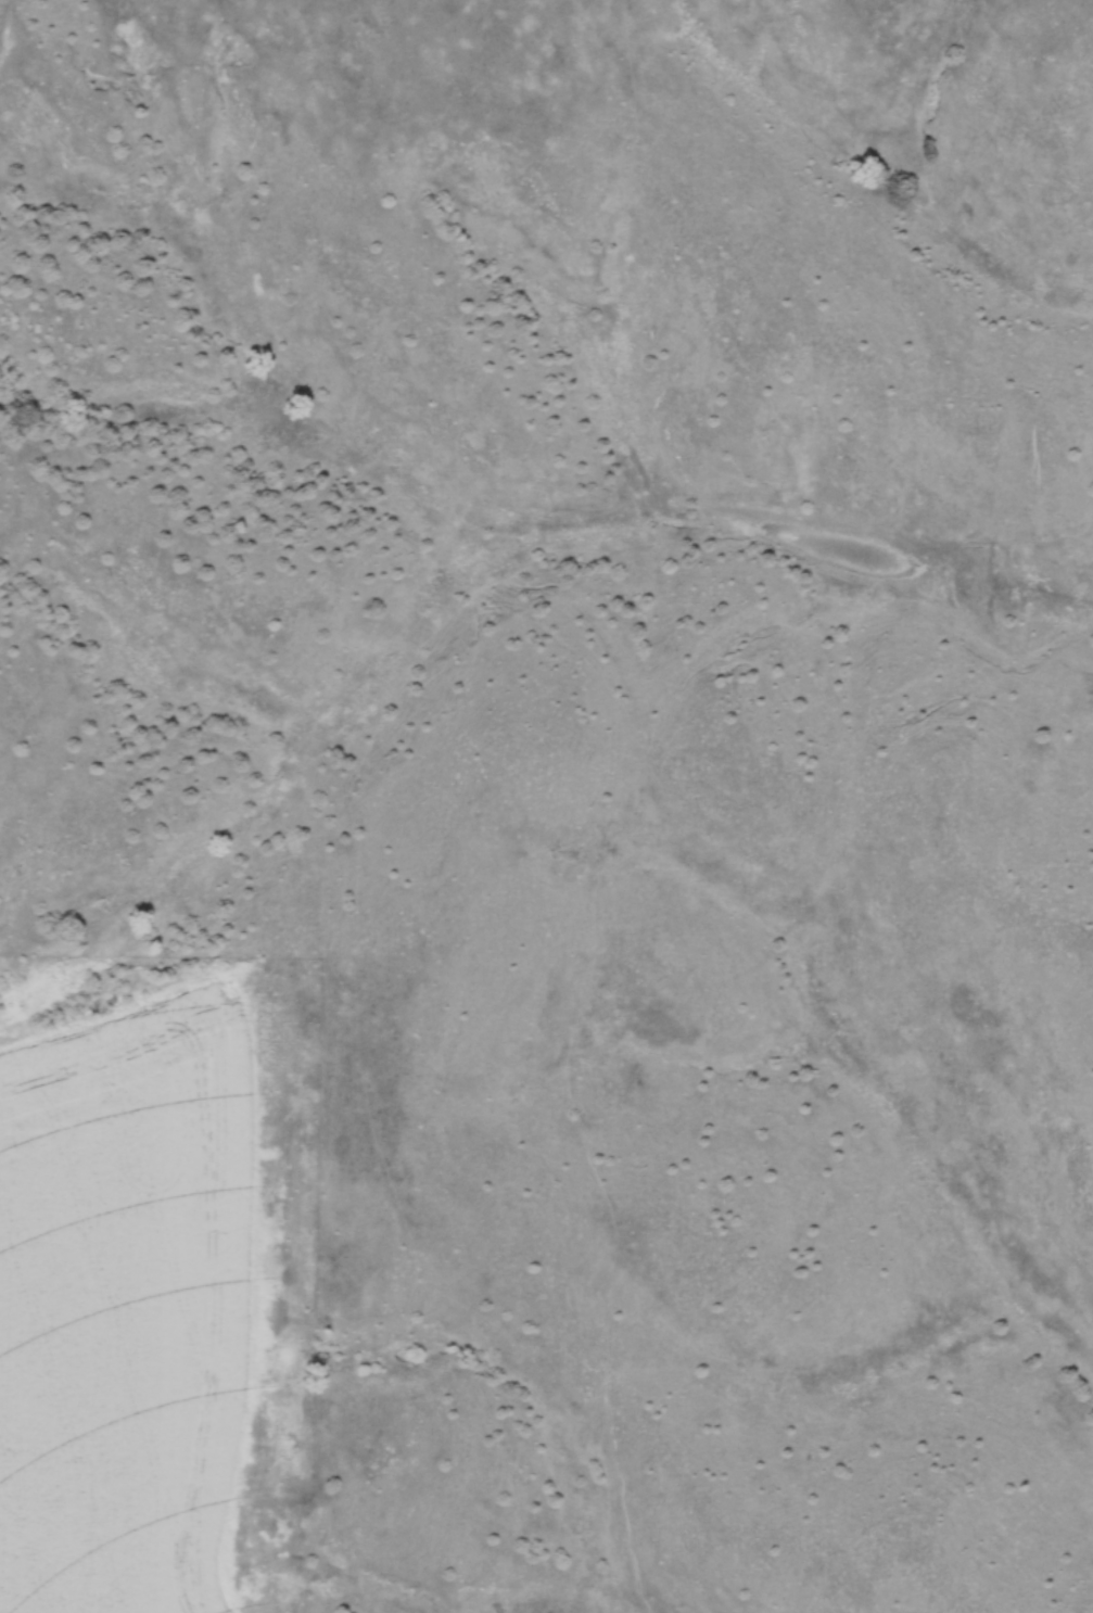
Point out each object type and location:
crop: (135, 1301)

